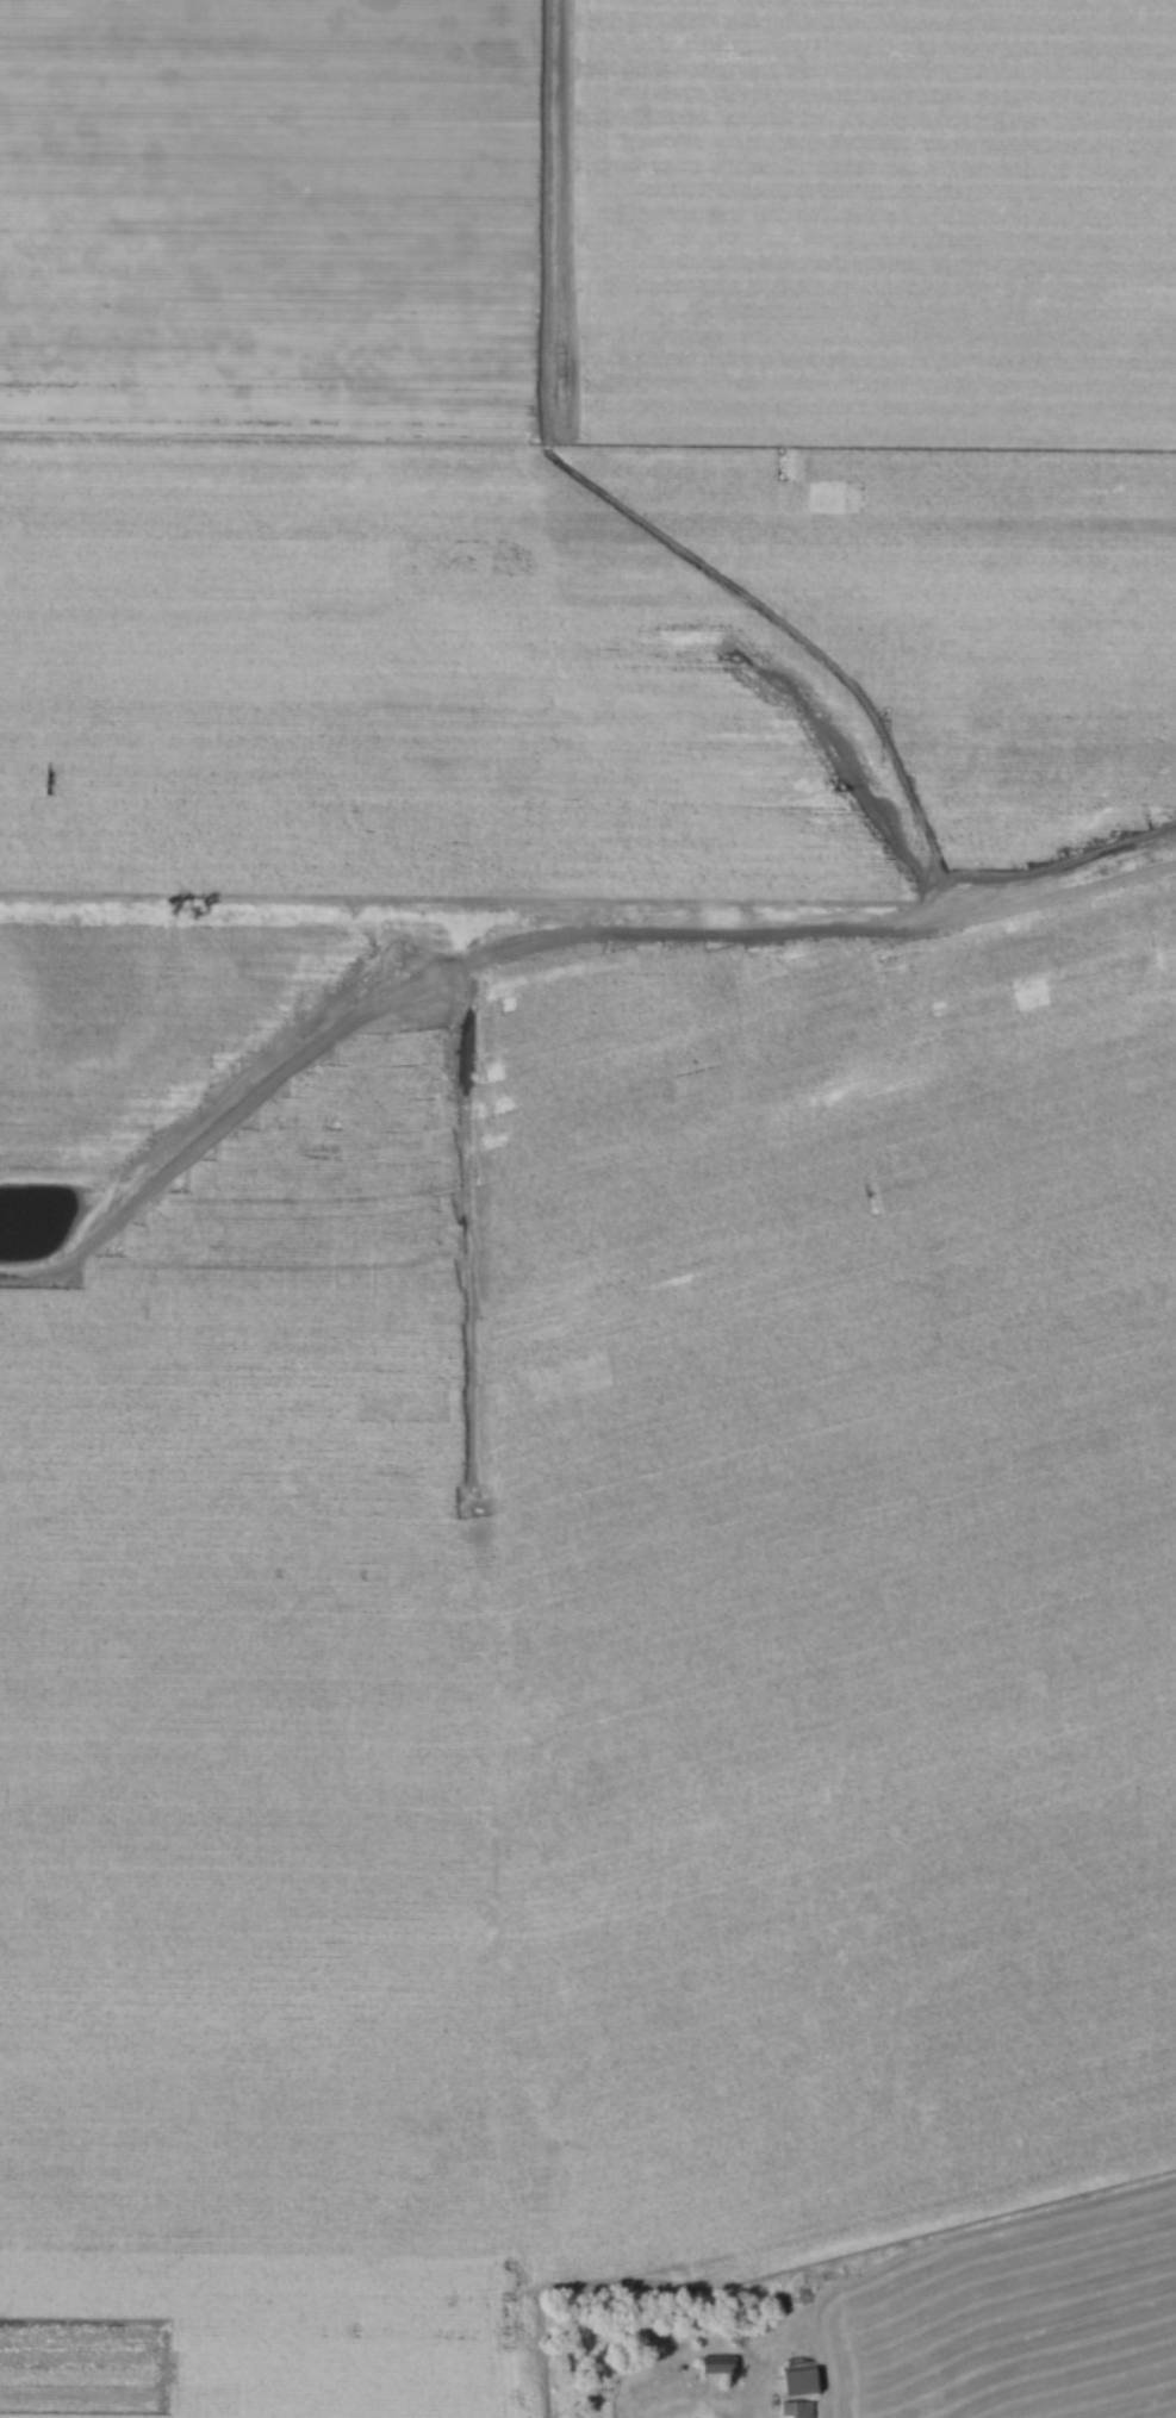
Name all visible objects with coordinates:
building: (718, 2367)
building: (803, 2385)
building: (797, 2411)

